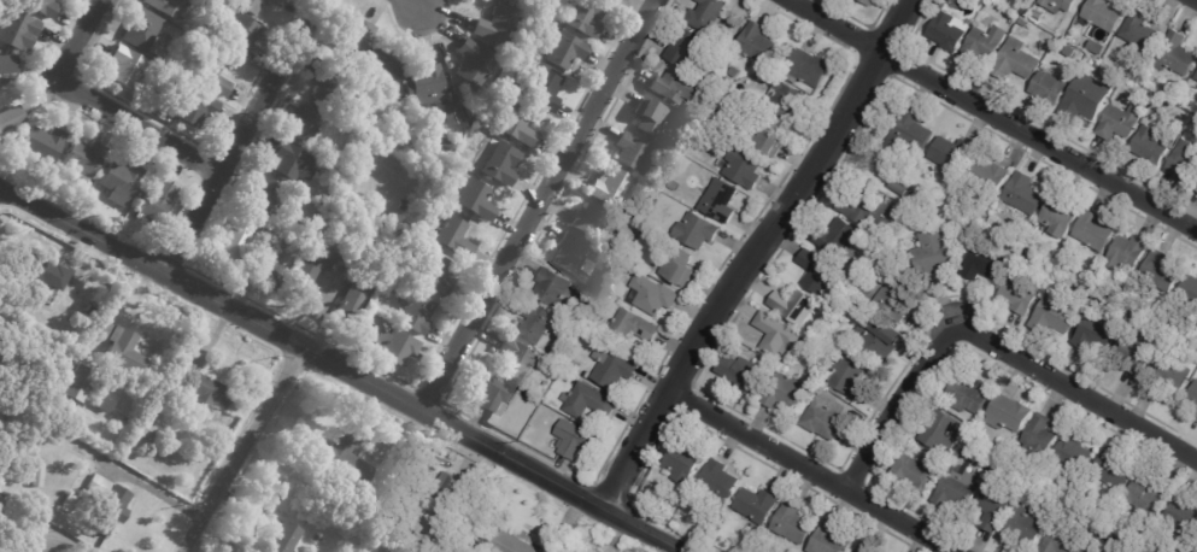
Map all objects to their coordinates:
building: (612, 0)
building: (615, 0)
building: (1031, 0)
road: (1195, 0)
building: (869, 2)
building: (253, 5)
road: (413, 5)
building: (943, 5)
building: (1061, 5)
building: (41, 6)
building: (521, 6)
building: (171, 7)
building: (708, 14)
building: (1103, 14)
building: (587, 17)
building: (1038, 18)
building: (1023, 23)
road: (838, 25)
building: (497, 27)
building: (17, 29)
building: (141, 29)
building: (950, 31)
building: (1142, 31)
building: (204, 34)
building: (237, 35)
building: (352, 36)
building: (984, 43)
building: (756, 45)
building: (498, 48)
building: (686, 48)
building: (565, 49)
building: (1069, 52)
building: (1178, 54)
building: (1017, 60)
building: (169, 63)
building: (779, 63)
building: (475, 64)
building: (7, 65)
building: (127, 66)
building: (380, 67)
building: (808, 69)
building: (211, 72)
building: (1196, 78)
building: (426, 86)
building: (676, 88)
building: (1050, 88)
building: (330, 89)
building: (539, 90)
building: (1087, 98)
building: (786, 100)
road: (100, 101)
building: (195, 107)
building: (451, 112)
building: (10, 118)
building: (656, 118)
building: (1183, 121)
building: (1120, 122)
building: (305, 123)
building: (518, 125)
building: (704, 130)
road: (240, 134)
building: (911, 134)
building: (769, 137)
building: (667, 142)
road: (1040, 142)
building: (42, 145)
building: (1152, 146)
building: (633, 153)
building: (952, 157)
building: (83, 159)
building: (1185, 160)
building: (293, 163)
building: (501, 164)
building: (685, 164)
building: (743, 166)
building: (446, 178)
building: (988, 178)
building: (117, 183)
building: (659, 183)
building: (674, 186)
building: (611, 188)
building: (1196, 188)
building: (899, 189)
building: (264, 195)
building: (1025, 195)
building: (914, 196)
building: (476, 200)
building: (154, 201)
building: (721, 201)
road: (536, 205)
building: (868, 210)
building: (633, 215)
building: (1060, 215)
building: (274, 216)
building: (593, 222)
building: (697, 230)
building: (1095, 231)
building: (453, 236)
building: (840, 239)
building: (235, 240)
road: (755, 252)
building: (932, 253)
building: (1127, 253)
building: (571, 254)
building: (986, 264)
building: (311, 266)
building: (677, 266)
building: (1161, 271)
building: (268, 272)
building: (818, 274)
building: (37, 275)
building: (436, 276)
building: (1190, 289)
building: (555, 290)
building: (353, 295)
building: (651, 295)
building: (1020, 295)
building: (1099, 295)
building: (589, 299)
building: (897, 300)
building: (794, 306)
building: (415, 312)
building: (1055, 315)
building: (535, 323)
building: (632, 328)
building: (70, 330)
building: (1096, 334)
building: (776, 335)
building: (876, 339)
road: (993, 345)
building: (394, 346)
building: (122, 350)
building: (559, 352)
building: (1137, 354)
building: (515, 360)
building: (573, 365)
road: (342, 369)
building: (612, 369)
building: (744, 374)
building: (1169, 375)
building: (847, 377)
building: (82, 380)
building: (201, 388)
building: (785, 393)
building: (495, 395)
building: (970, 397)
building: (1193, 397)
building: (588, 403)
building: (1010, 415)
building: (823, 421)
building: (145, 430)
building: (943, 433)
building: (166, 439)
building: (1043, 439)
building: (575, 440)
building: (159, 450)
road: (243, 451)
building: (1075, 454)
building: (986, 456)
building: (345, 460)
building: (685, 460)
road: (817, 468)
building: (1119, 472)
building: (36, 475)
building: (916, 475)
building: (1051, 481)
road: (142, 483)
building: (720, 483)
building: (1022, 486)
building: (448, 487)
building: (958, 492)
building: (1150, 497)
building: (68, 504)
building: (997, 504)
building: (105, 505)
building: (758, 506)
building: (4, 509)
building: (363, 511)
building: (1184, 516)
building: (793, 524)
building: (1026, 528)
building: (283, 539)
building: (316, 540)
building: (831, 540)
road: (68, 541)
building: (507, 542)
building: (1062, 542)
building: (867, 548)
building: (1085, 550)
building: (1092, 550)

